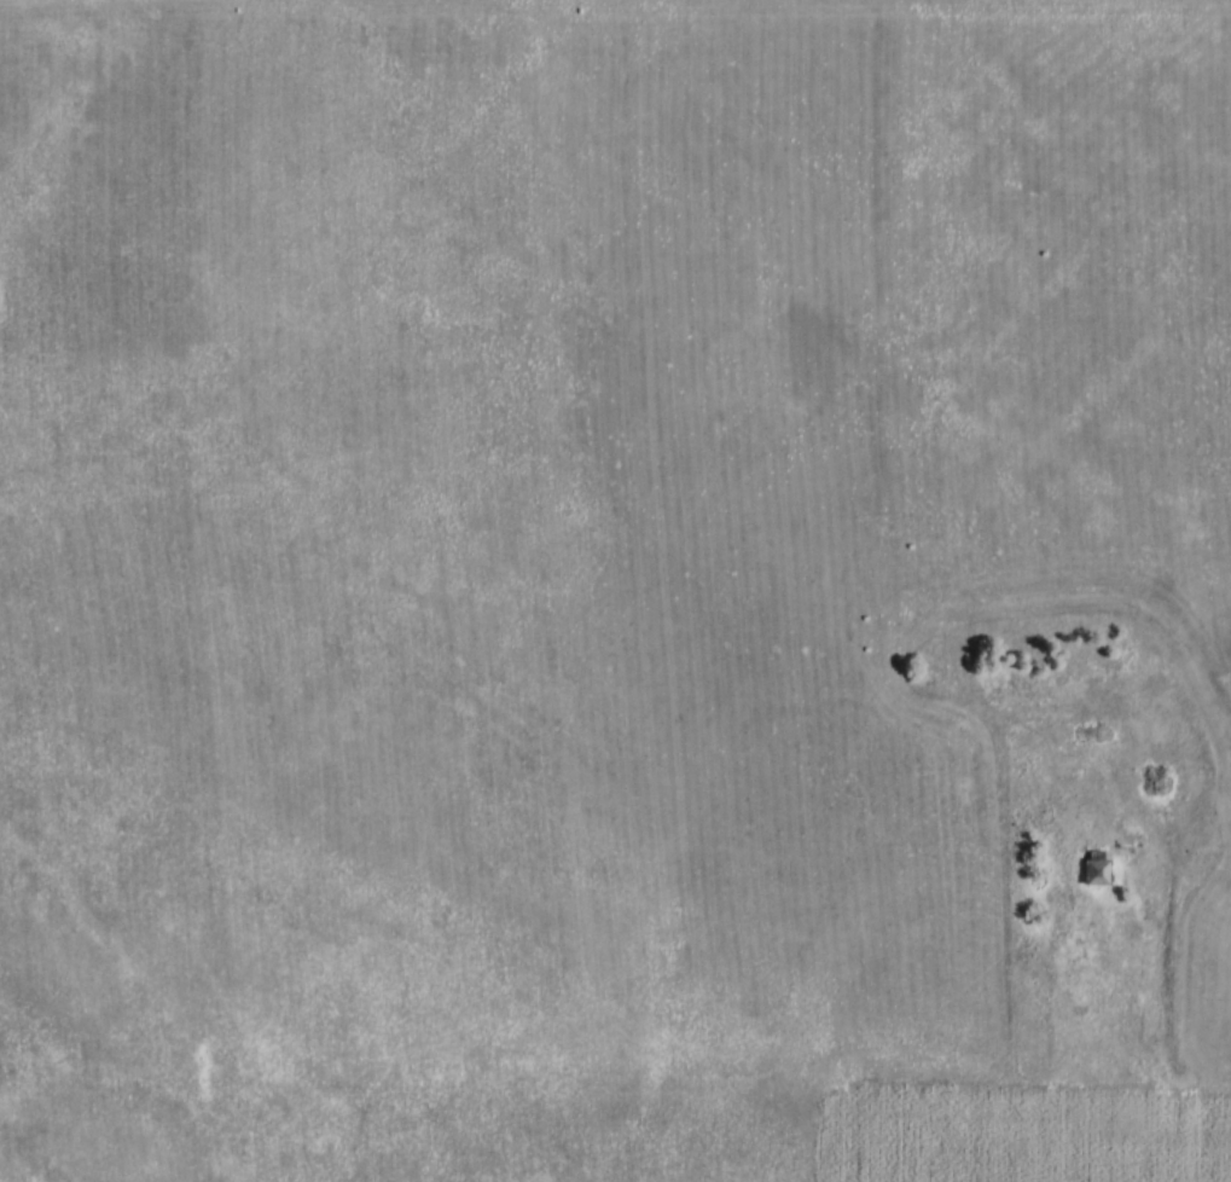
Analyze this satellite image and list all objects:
building: (1088, 732)
building: (1094, 871)
road: (1122, 995)
road: (1200, 1090)

